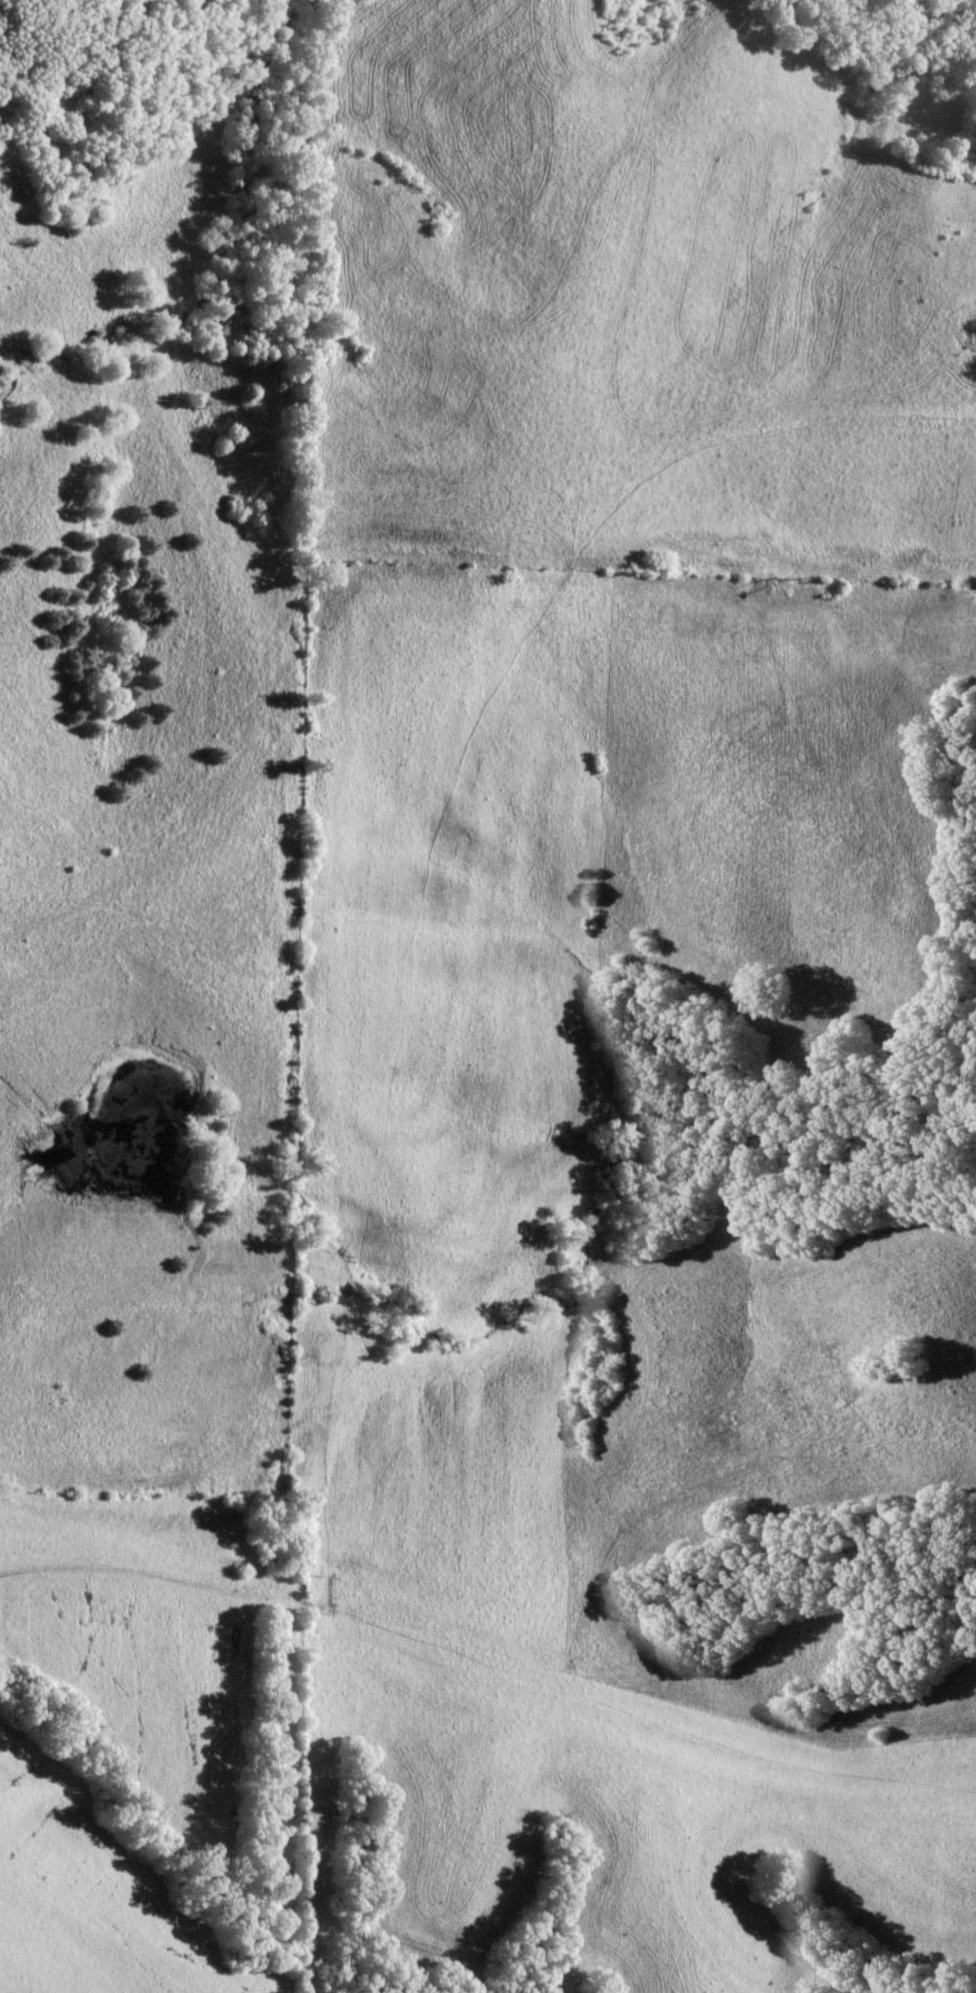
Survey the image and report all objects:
road: (179, 1528)

